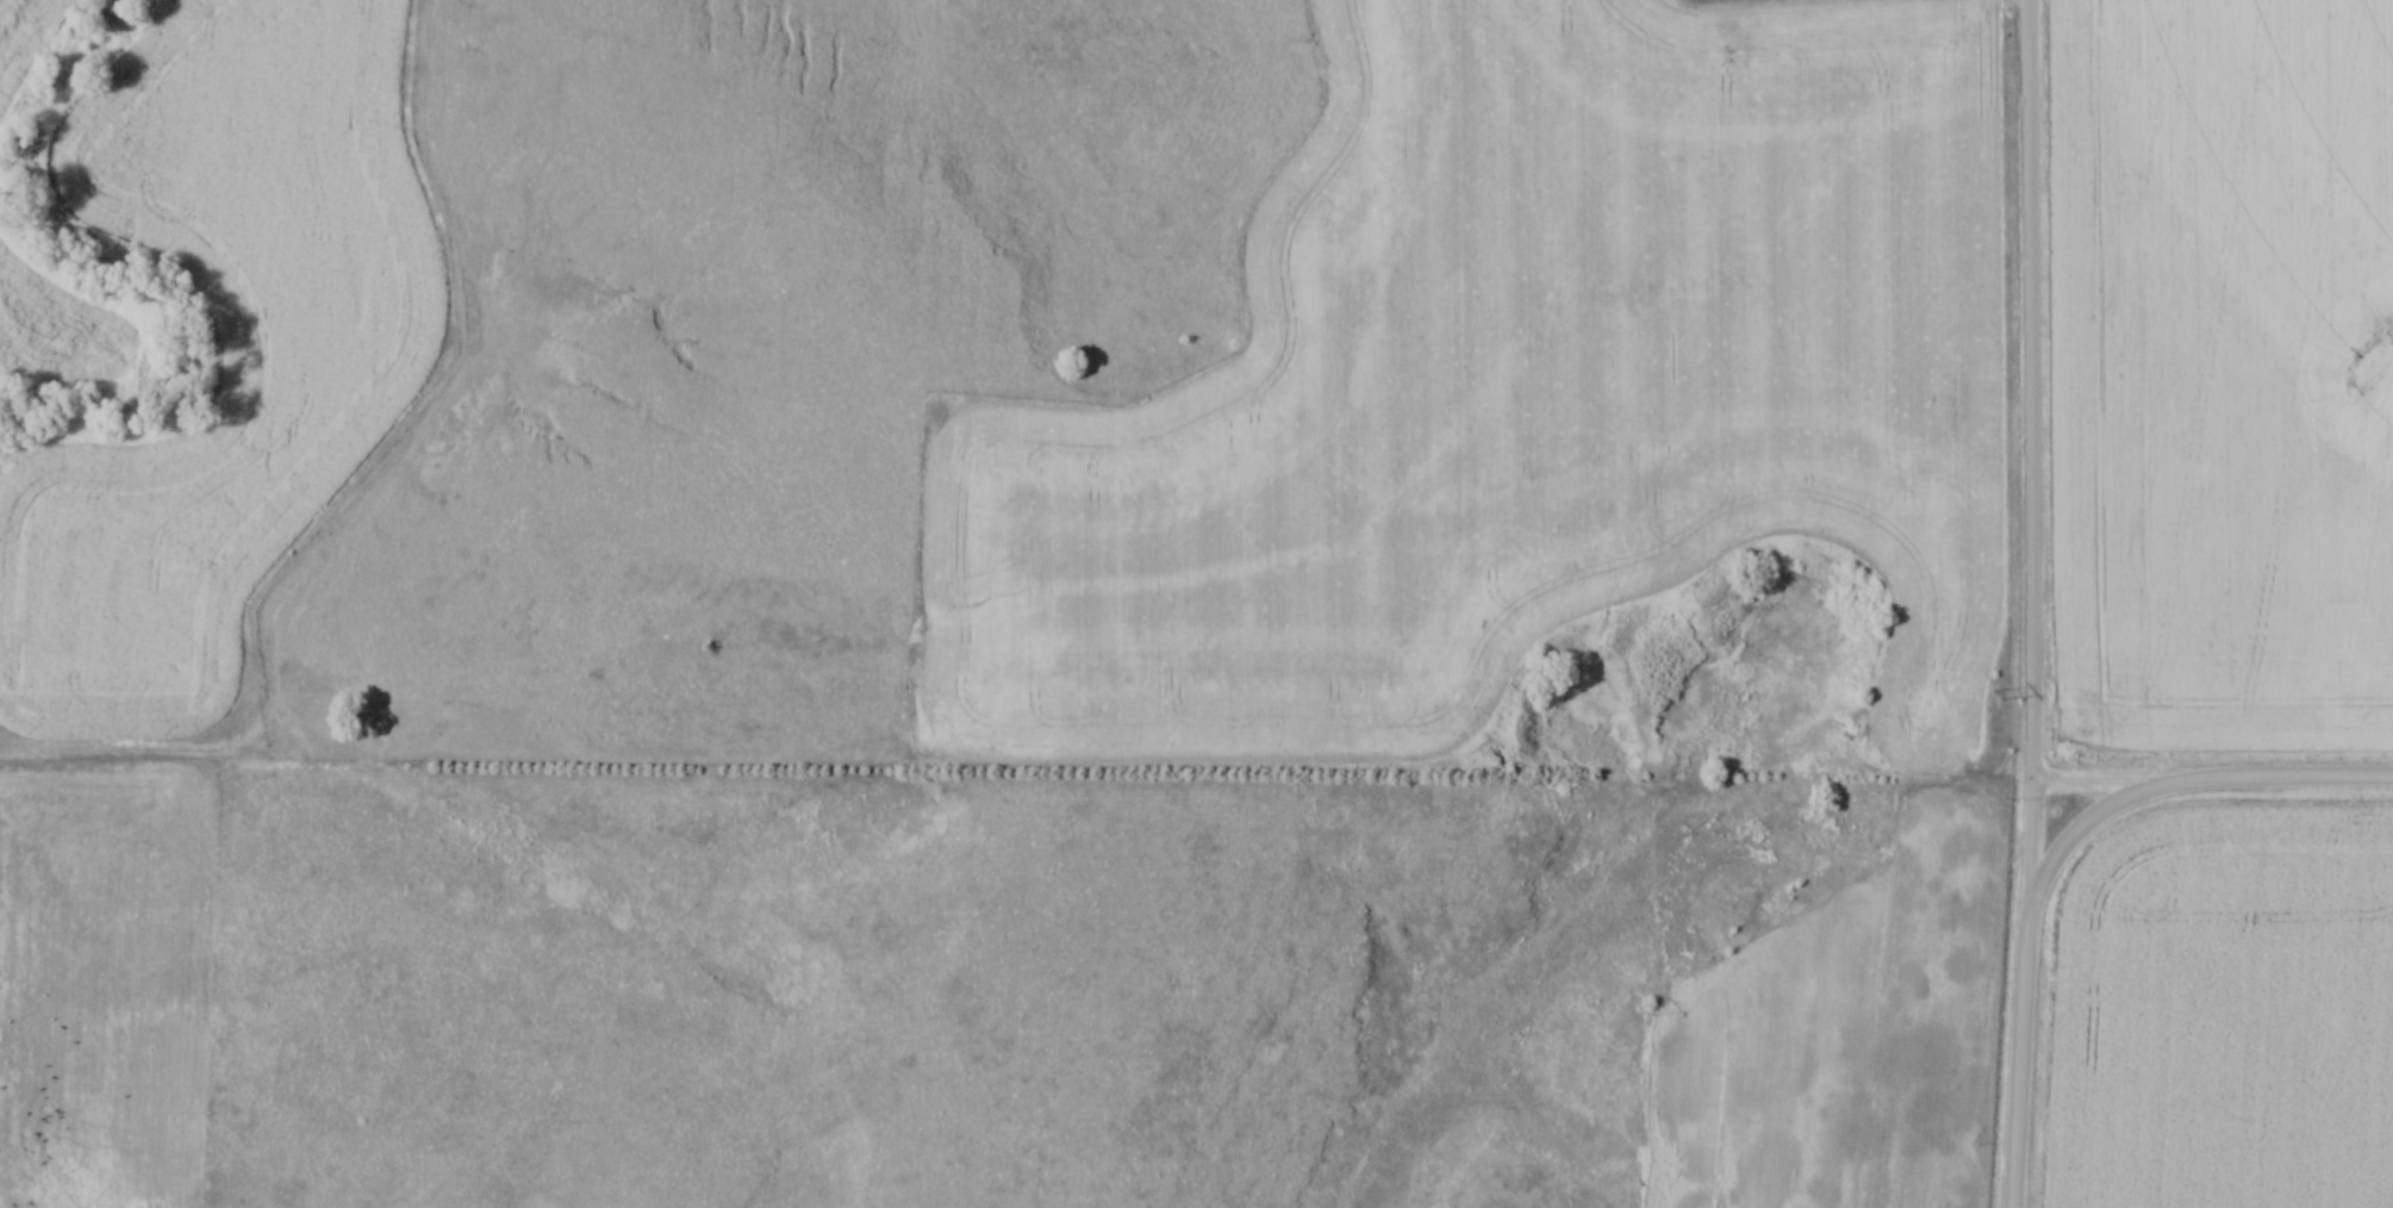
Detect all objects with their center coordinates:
road: (2026, 455)
power tower: (1995, 696)
road: (2119, 776)
road: (2177, 778)
power tower: (1641, 1007)
road: (2017, 1059)

